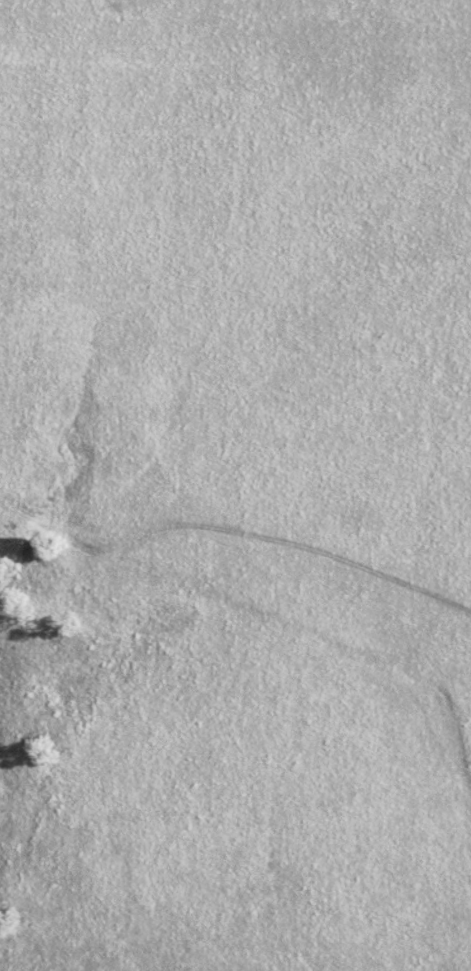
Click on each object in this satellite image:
road: (235, 532)

